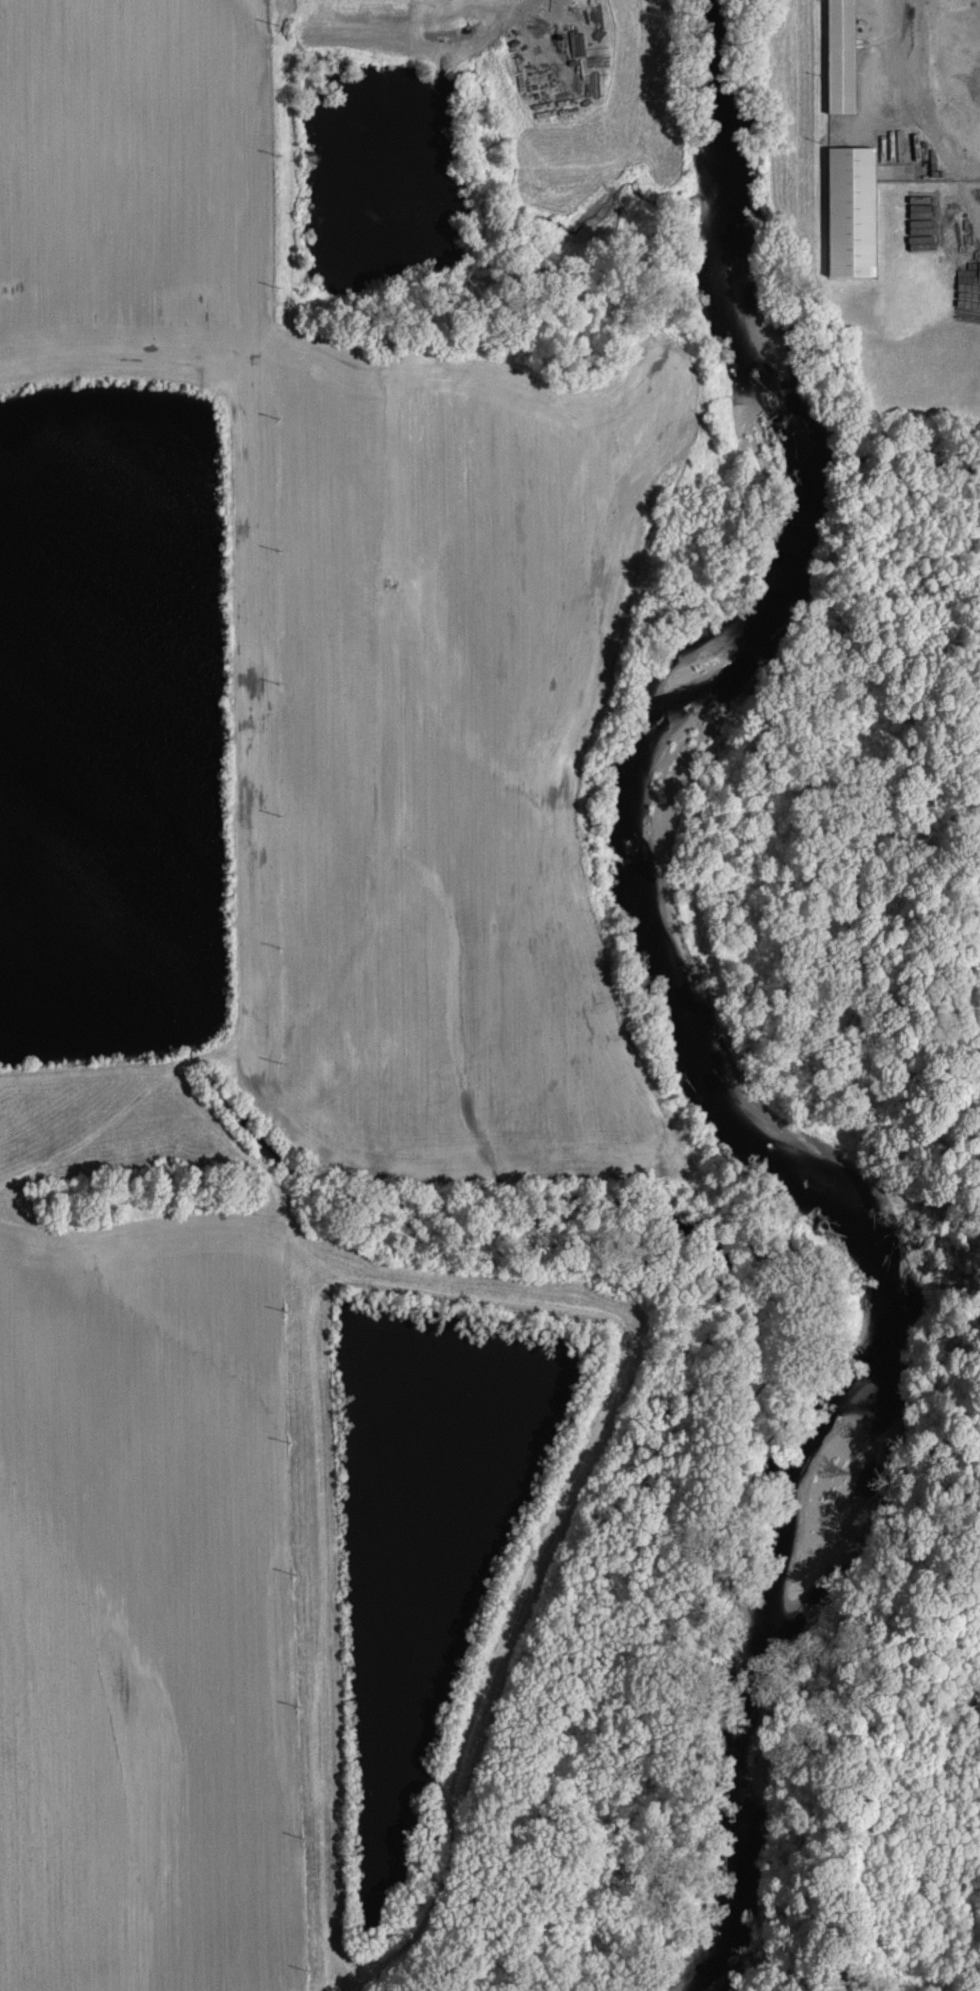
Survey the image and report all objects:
road: (893, 47)
building: (840, 57)
building: (851, 211)
river: (694, 1009)

